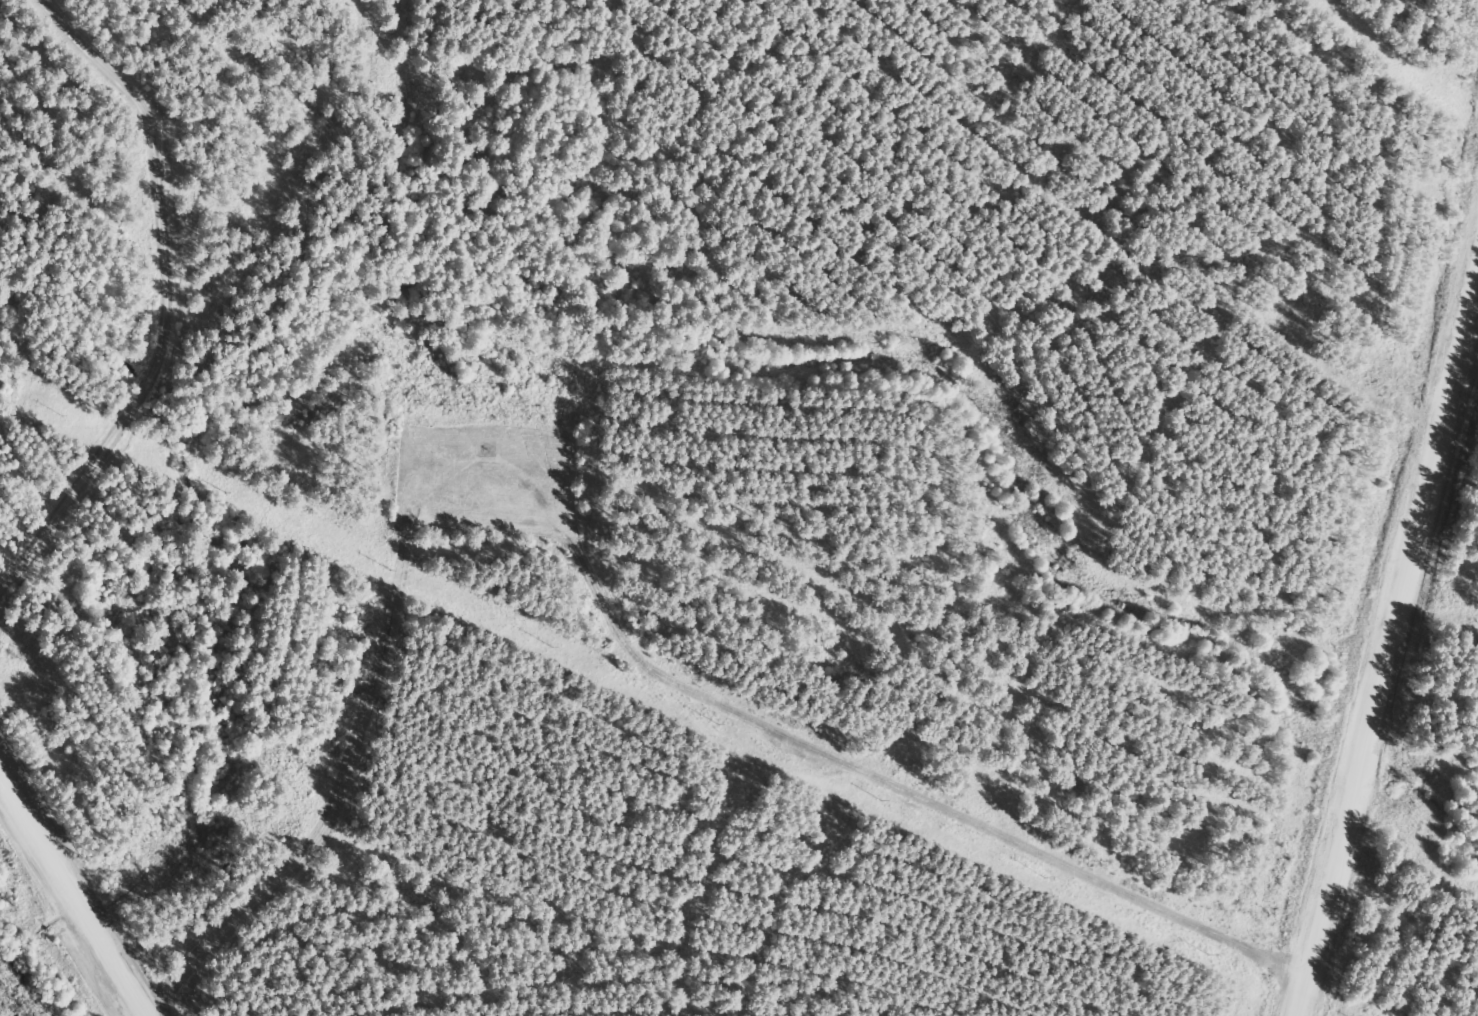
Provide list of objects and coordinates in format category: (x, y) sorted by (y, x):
road: (1389, 654)
road: (73, 898)

